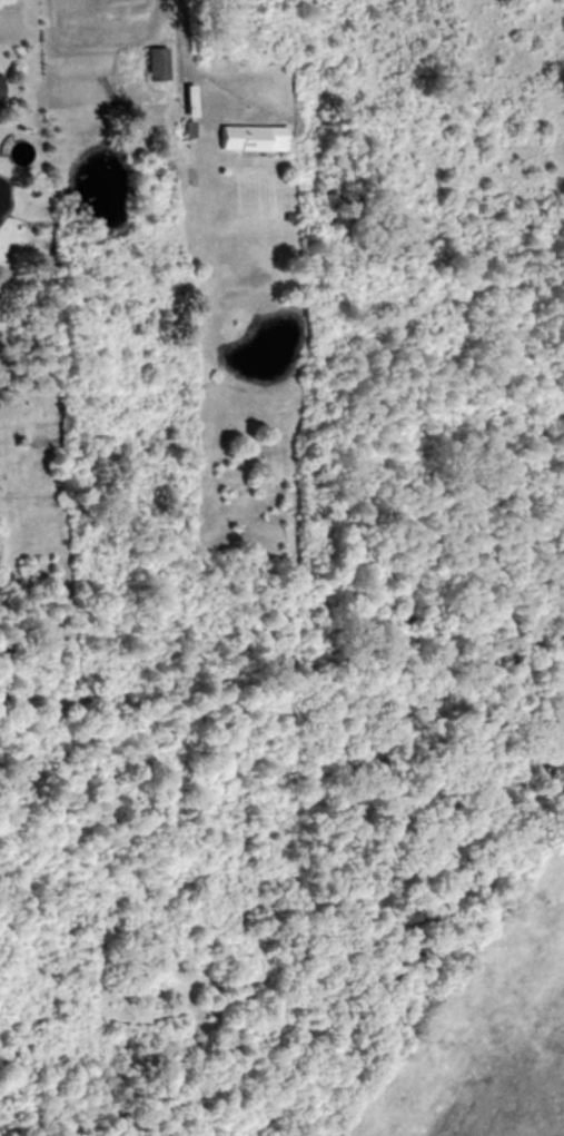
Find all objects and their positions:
road: (187, 53)
building: (0, 98)
building: (251, 138)

